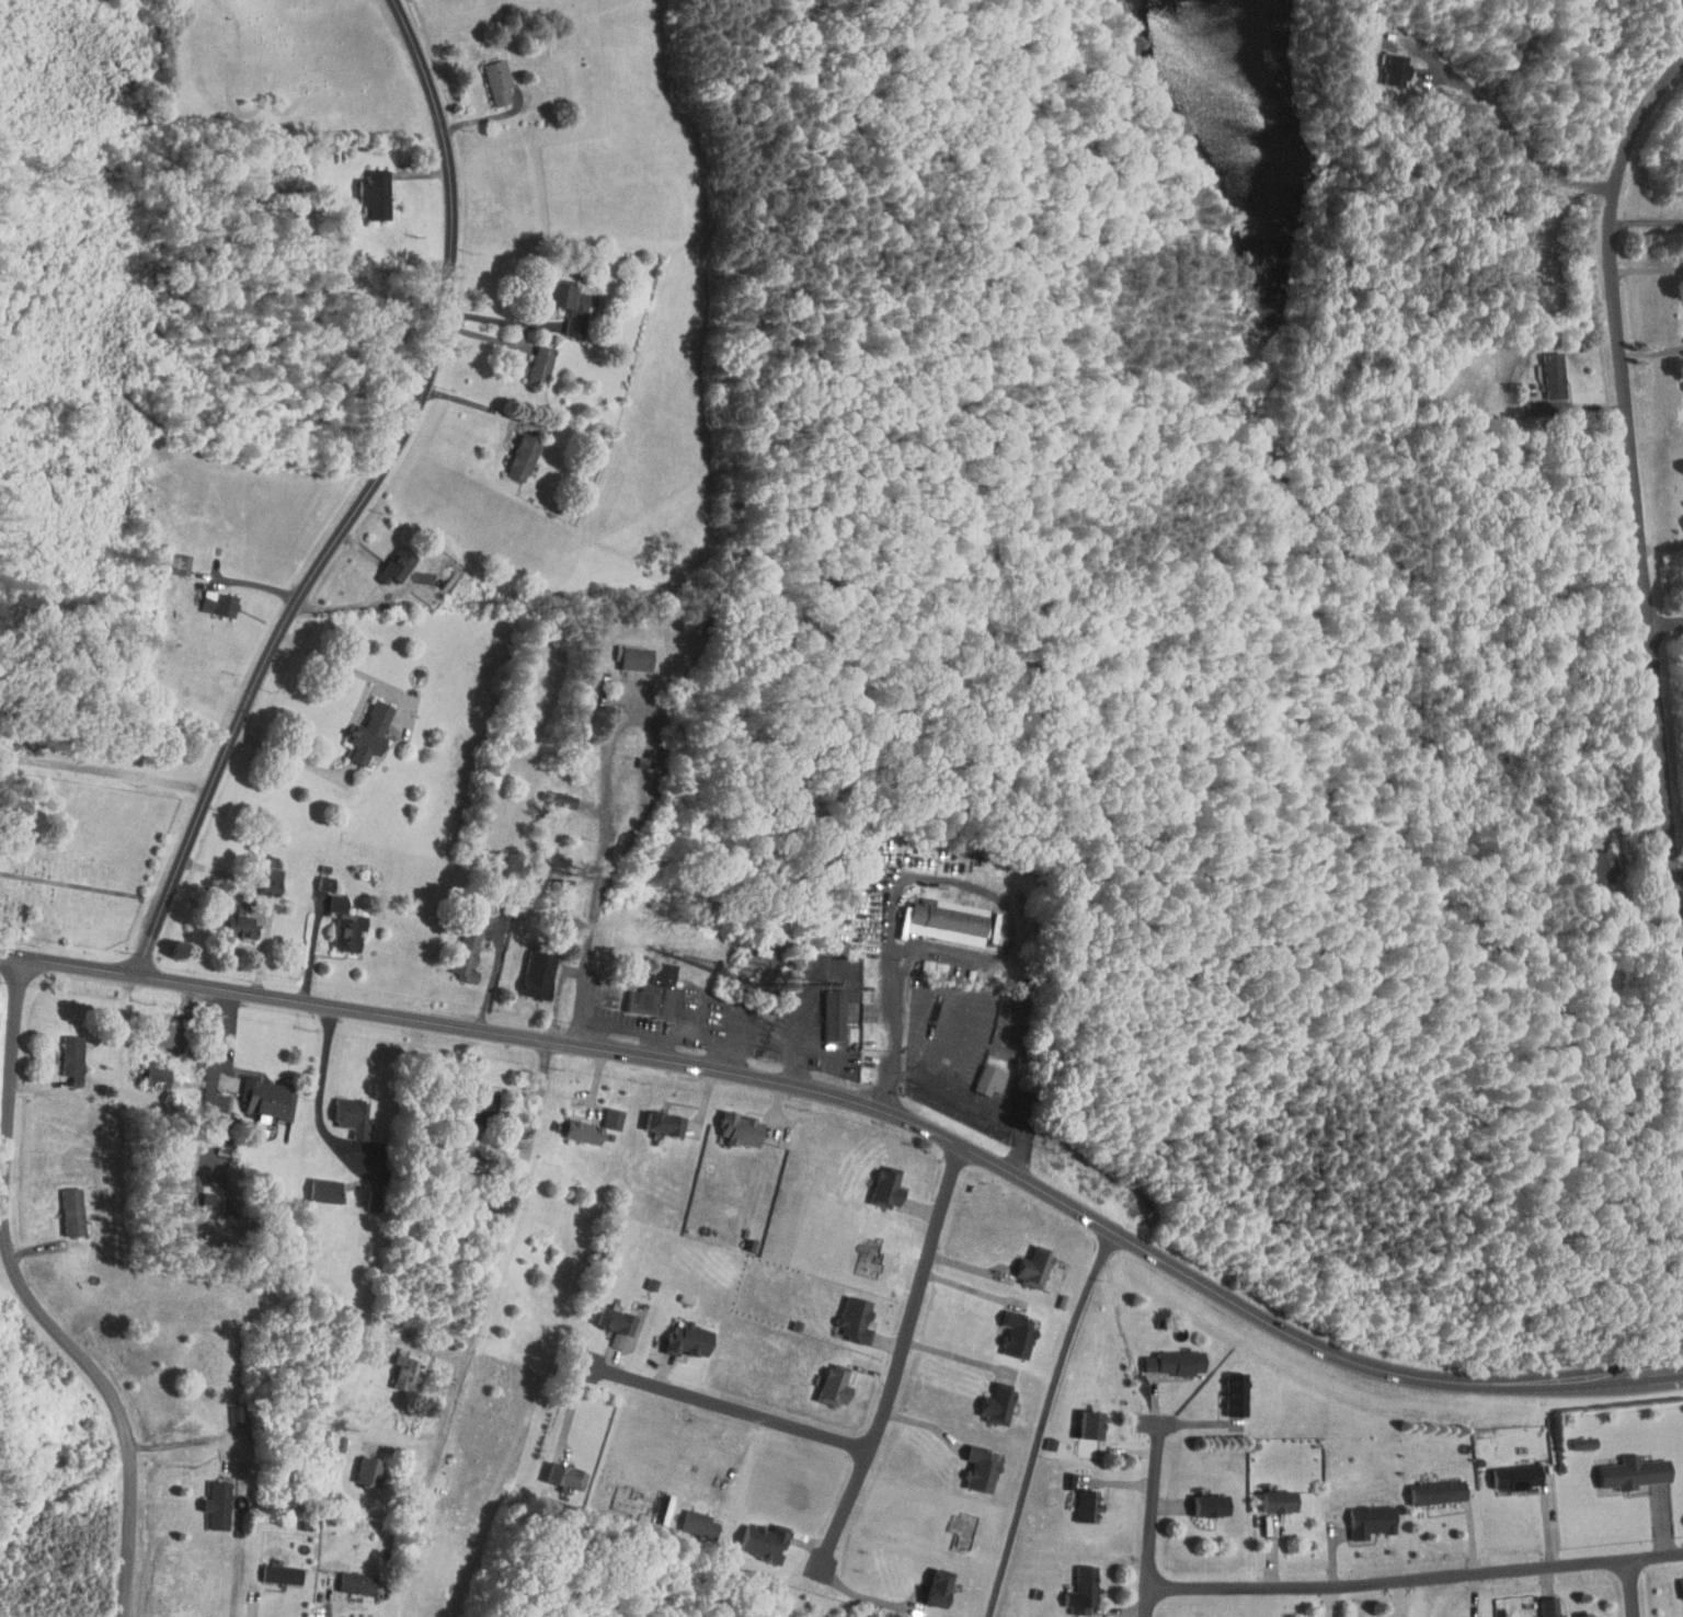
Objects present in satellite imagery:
building: (1386, 61)
building: (488, 73)
road: (1507, 129)
building: (365, 186)
road: (1645, 219)
road: (1645, 269)
building: (561, 299)
road: (502, 320)
road: (1649, 342)
building: (530, 358)
building: (1543, 368)
road: (1569, 409)
building: (513, 450)
road: (365, 498)
road: (1633, 500)
road: (1660, 546)
building: (168, 557)
building: (388, 559)
building: (208, 596)
road: (1665, 627)
building: (626, 651)
road: (354, 669)
road: (645, 714)
building: (359, 725)
road: (291, 756)
building: (550, 793)
building: (1591, 860)
building: (262, 874)
road: (921, 875)
building: (327, 896)
building: (934, 915)
building: (230, 920)
building: (339, 925)
building: (459, 941)
road: (313, 949)
building: (924, 961)
building: (528, 967)
road: (587, 972)
building: (648, 988)
road: (959, 1002)
building: (824, 1008)
road: (806, 1013)
building: (159, 1029)
road: (666, 1032)
road: (664, 1046)
building: (62, 1051)
road: (822, 1053)
building: (147, 1070)
building: (980, 1074)
building: (255, 1092)
road: (322, 1092)
road: (982, 1106)
road: (867, 1108)
building: (342, 1112)
building: (603, 1112)
building: (654, 1116)
building: (730, 1123)
building: (574, 1125)
building: (877, 1182)
building: (314, 1184)
building: (61, 1205)
road: (495, 1253)
building: (1026, 1260)
road: (974, 1288)
road: (33, 1298)
building: (845, 1312)
building: (606, 1319)
building: (1007, 1329)
building: (679, 1332)
building: (1165, 1355)
road: (959, 1356)
road: (901, 1361)
building: (396, 1366)
building: (823, 1379)
building: (1226, 1388)
building: (987, 1398)
road: (731, 1406)
building: (227, 1409)
building: (1081, 1419)
road: (1050, 1421)
building: (1575, 1436)
road: (185, 1442)
building: (971, 1463)
building: (358, 1465)
building: (1624, 1466)
building: (556, 1470)
building: (1507, 1470)
building: (1428, 1486)
building: (1269, 1494)
building: (207, 1499)
building: (1078, 1500)
building: (1201, 1500)
building: (1361, 1515)
building: (689, 1517)
road: (1154, 1519)
building: (754, 1536)
building: (271, 1568)
building: (346, 1576)
road: (1416, 1576)
building: (929, 1582)
building: (1678, 1583)
building: (1073, 1584)
road: (1632, 1587)
road: (869, 1597)
building: (1541, 1604)
building: (1438, 1616)

